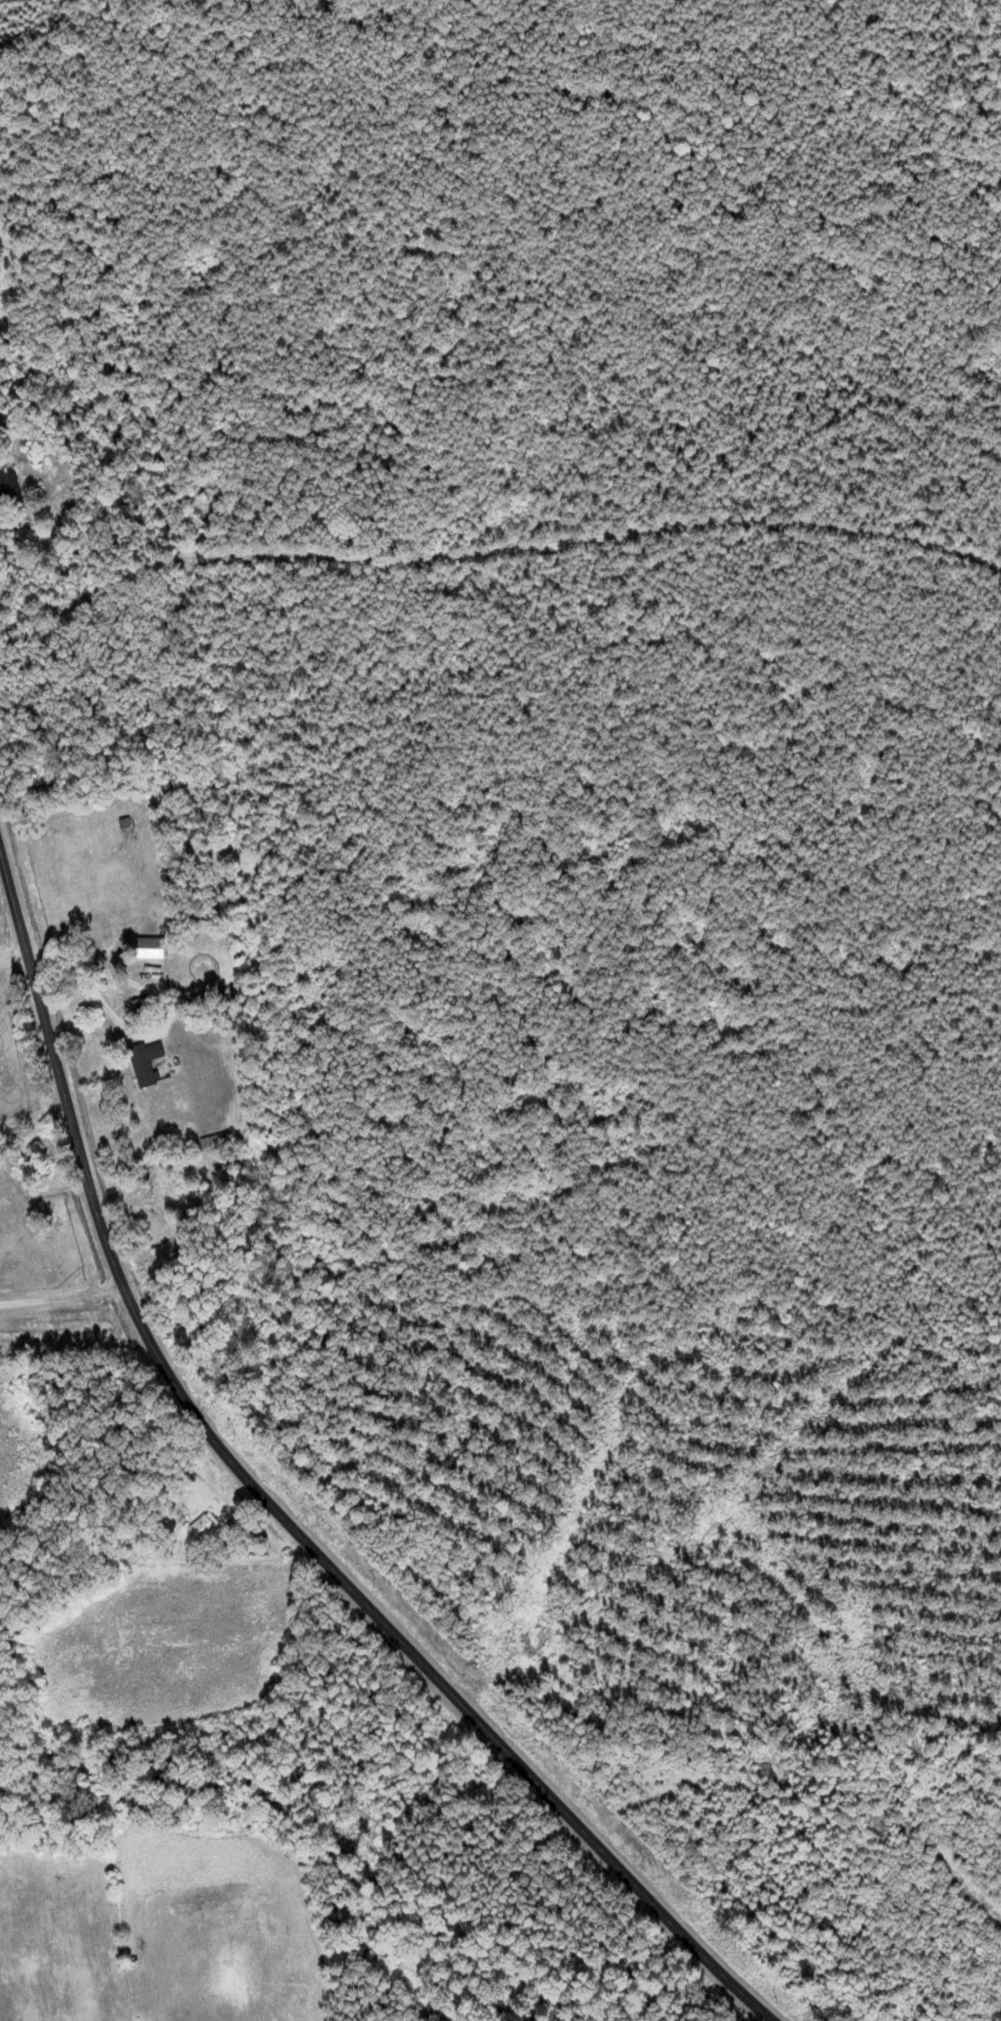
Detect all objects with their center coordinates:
building: (13, 485)
building: (193, 912)
road: (14, 961)
building: (150, 1062)
road: (274, 1507)
building: (207, 1528)

